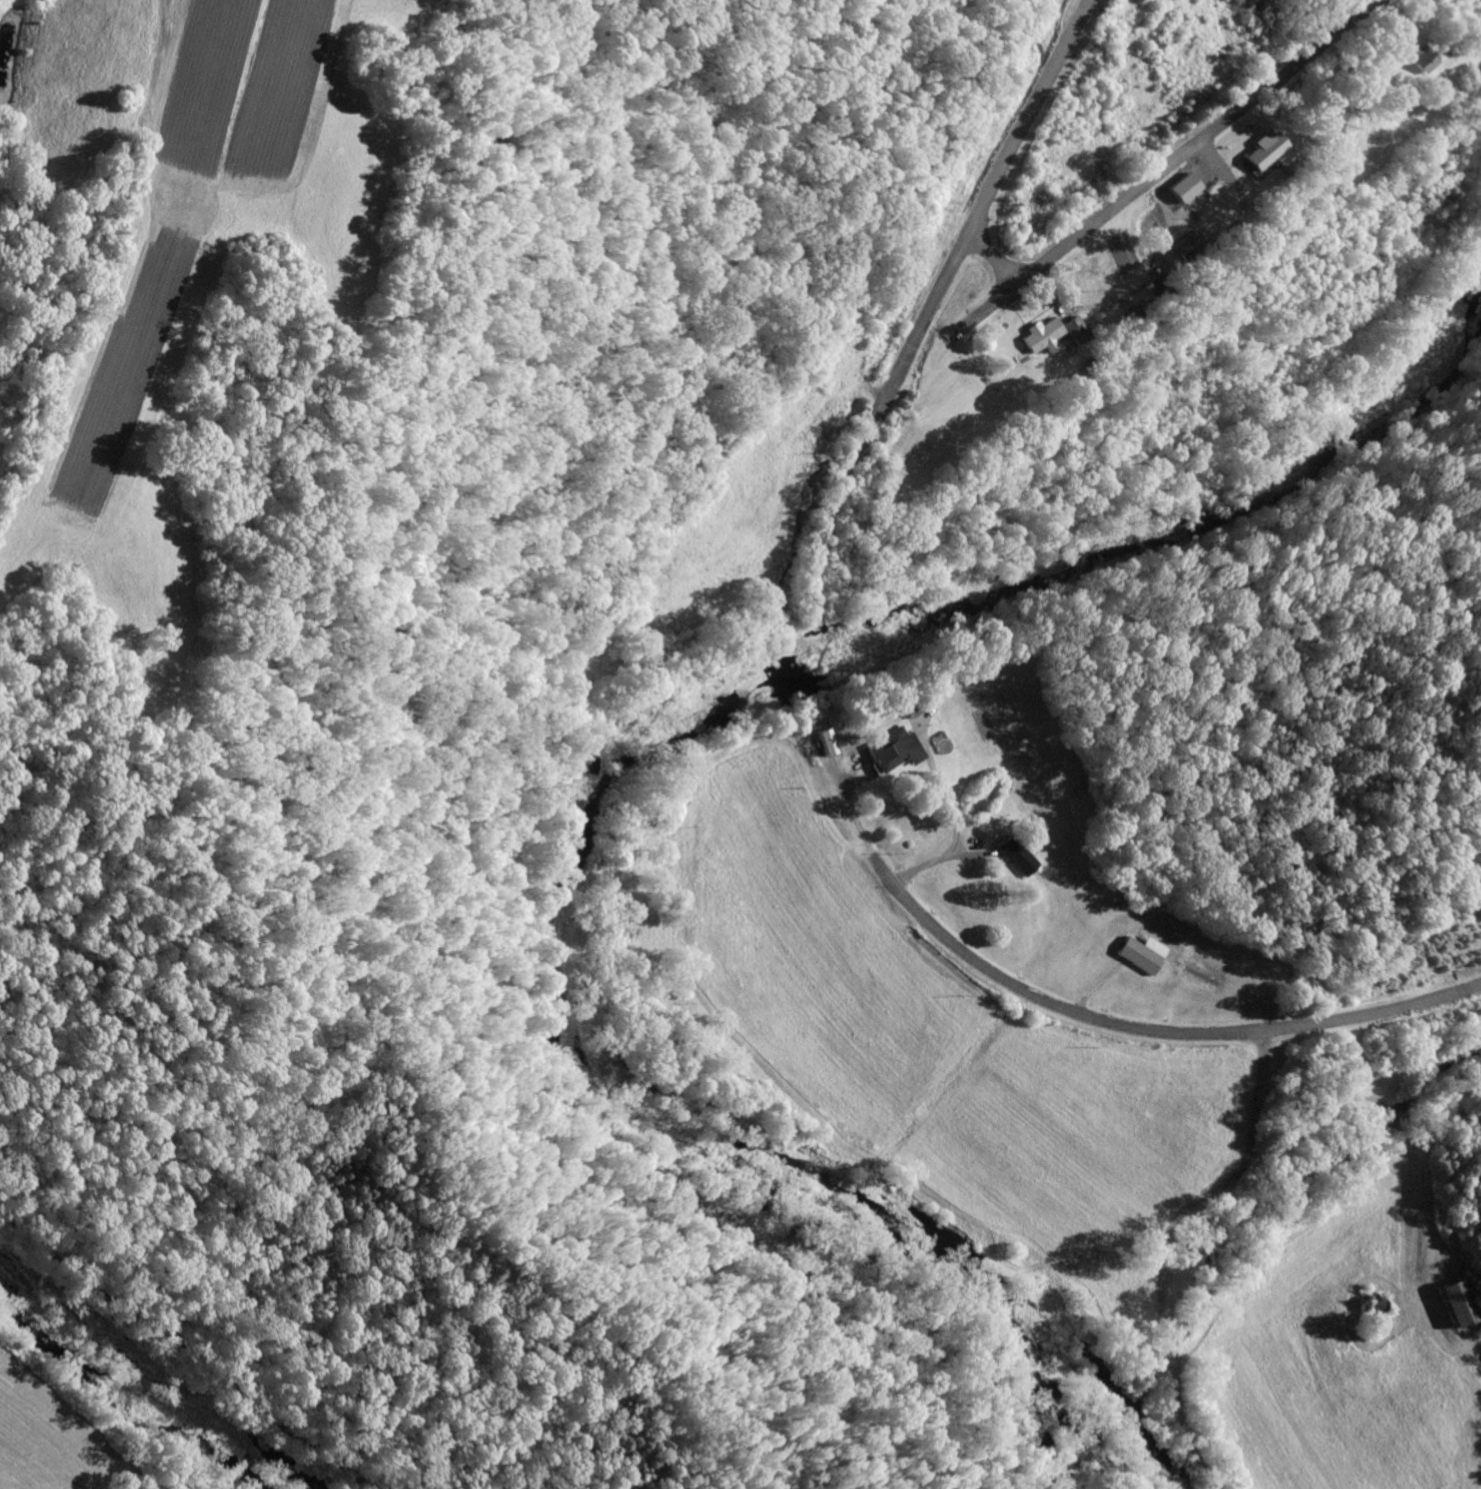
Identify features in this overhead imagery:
building: (1421, 58)
road: (1024, 78)
building: (1264, 149)
road: (958, 228)
building: (1190, 242)
building: (1076, 327)
building: (1043, 335)
road: (825, 665)
building: (894, 748)
building: (1017, 854)
building: (1143, 951)
road: (1153, 1246)
building: (1458, 1302)
road: (178, 1355)

